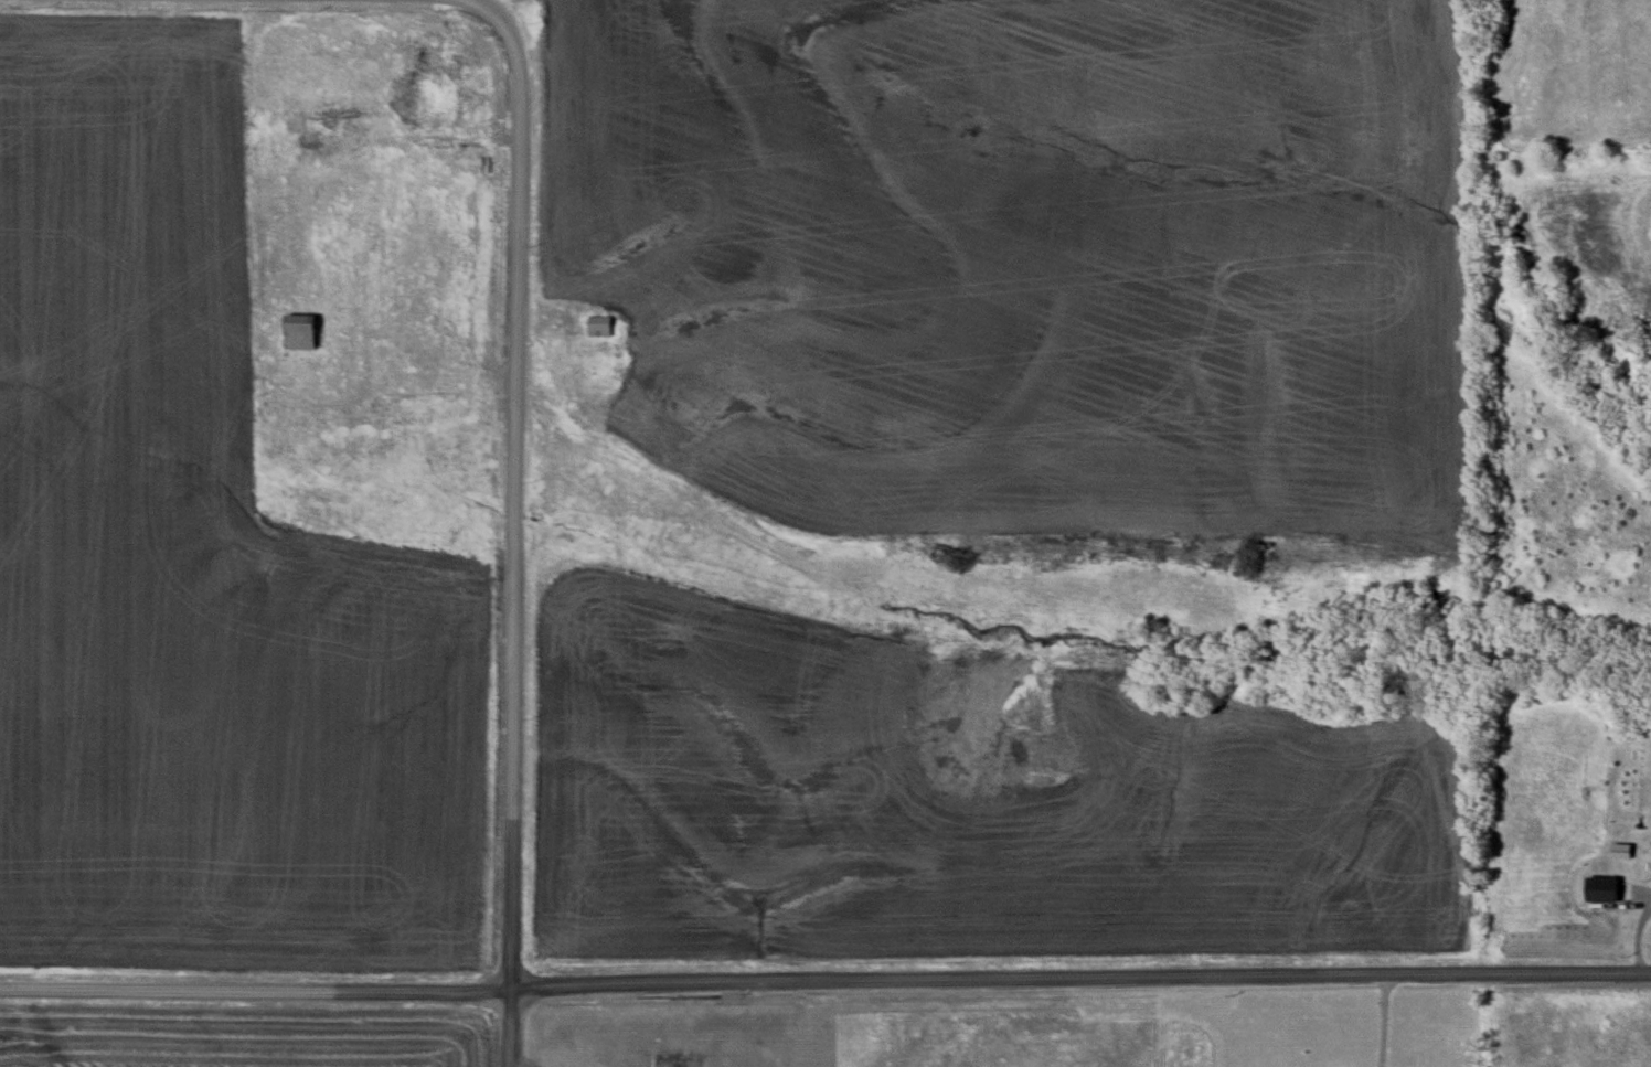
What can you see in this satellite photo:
building: (598, 327)
building: (298, 332)
road: (514, 521)
road: (824, 981)
road: (1375, 1021)

